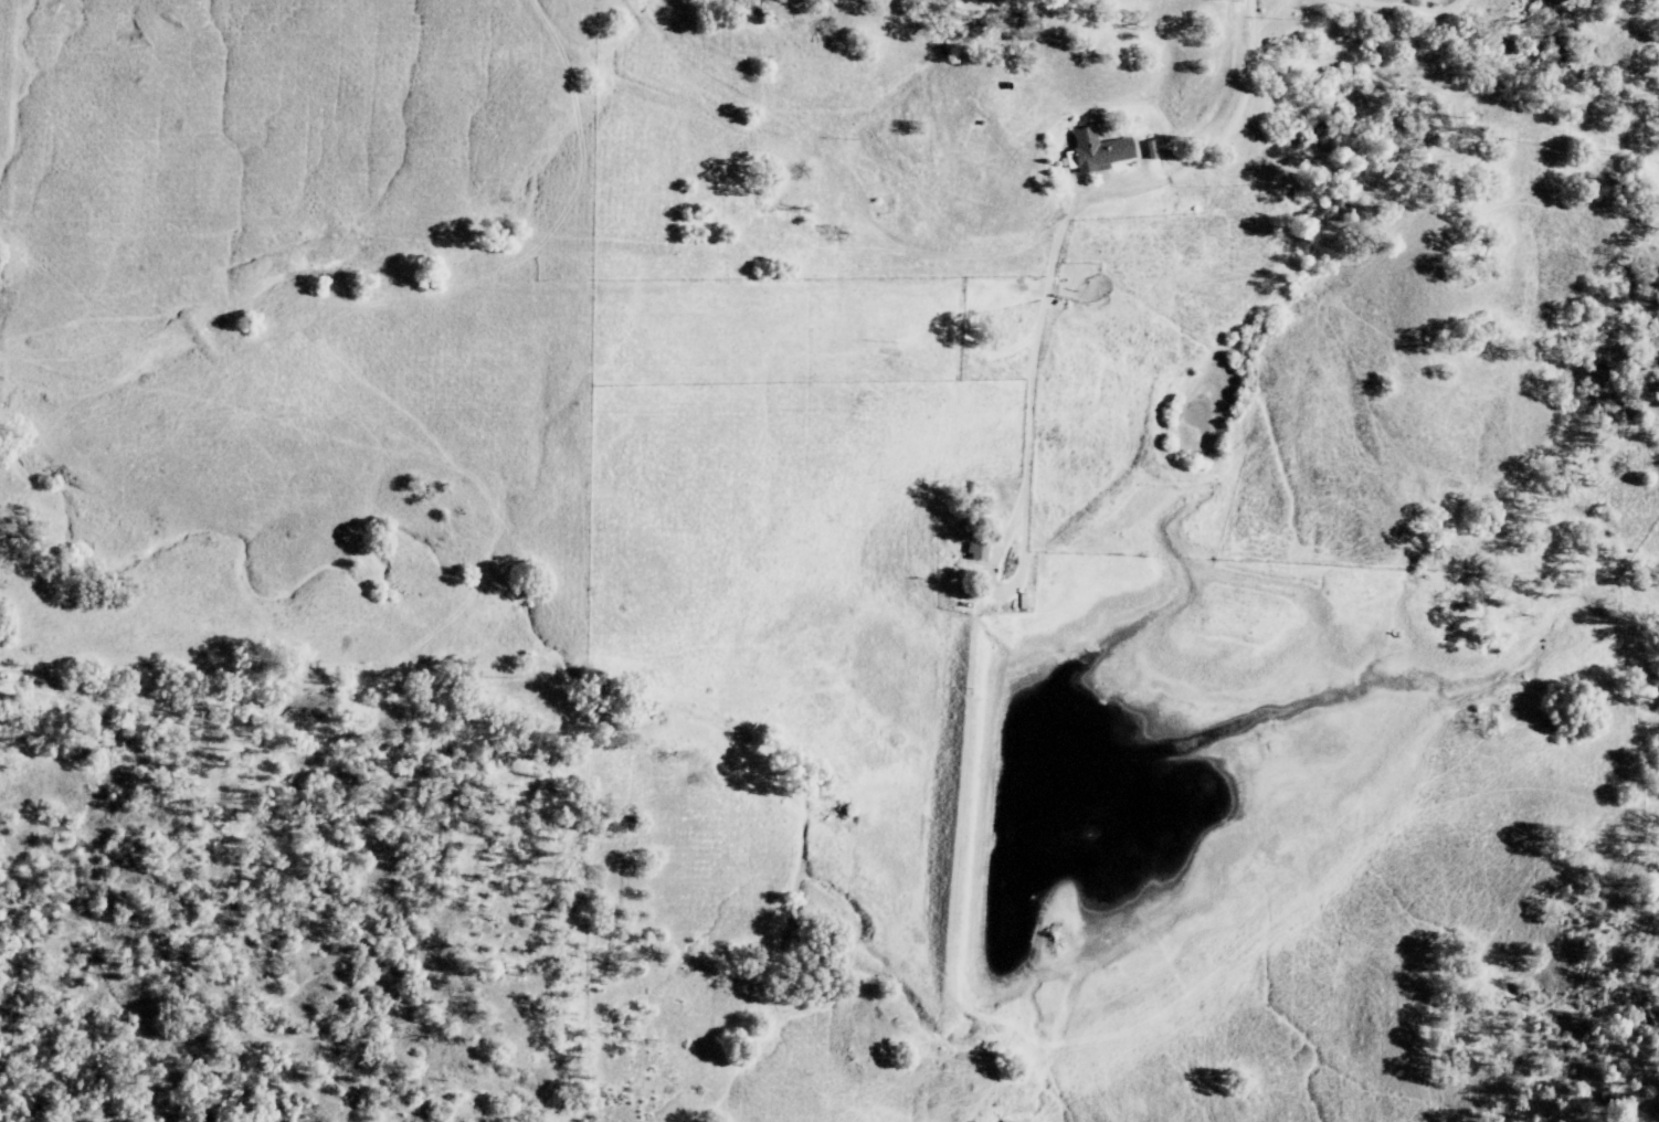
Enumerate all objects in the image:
road: (1243, 100)
building: (1101, 152)
road: (1032, 334)
building: (980, 552)

